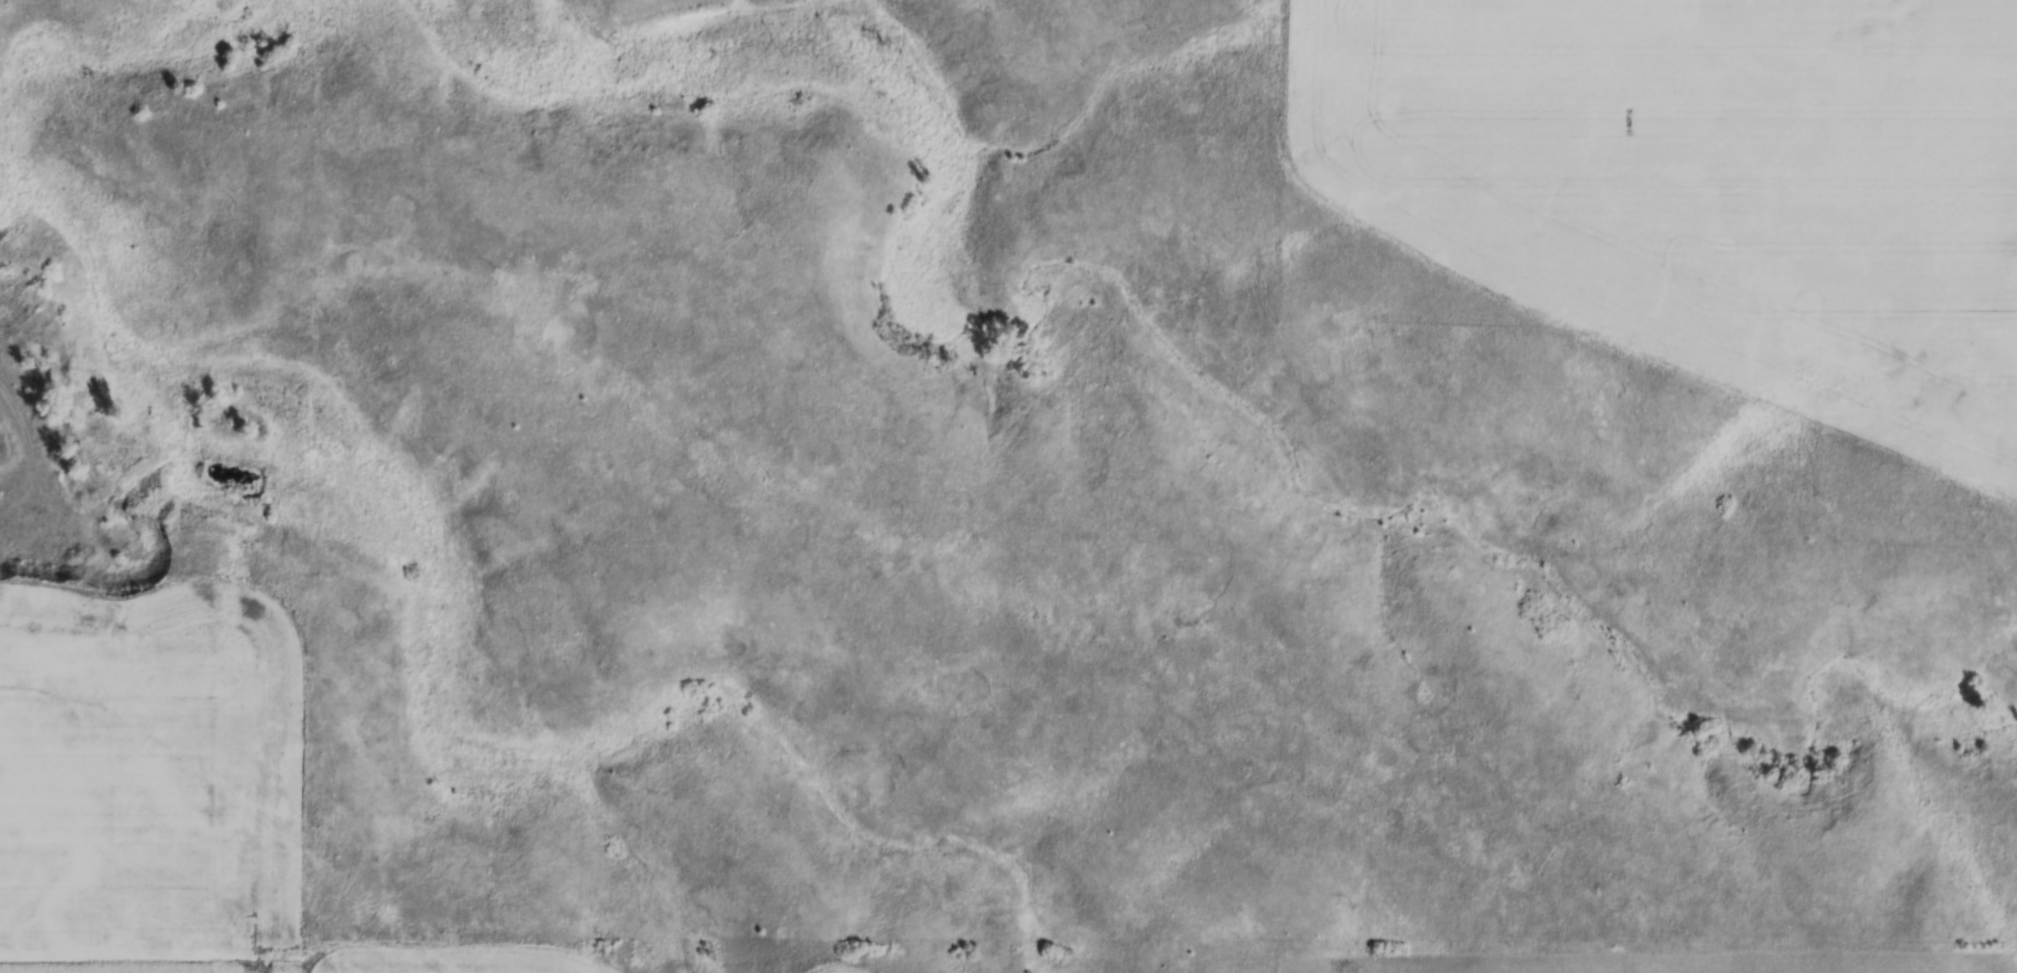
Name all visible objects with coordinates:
road: (1008, 953)

